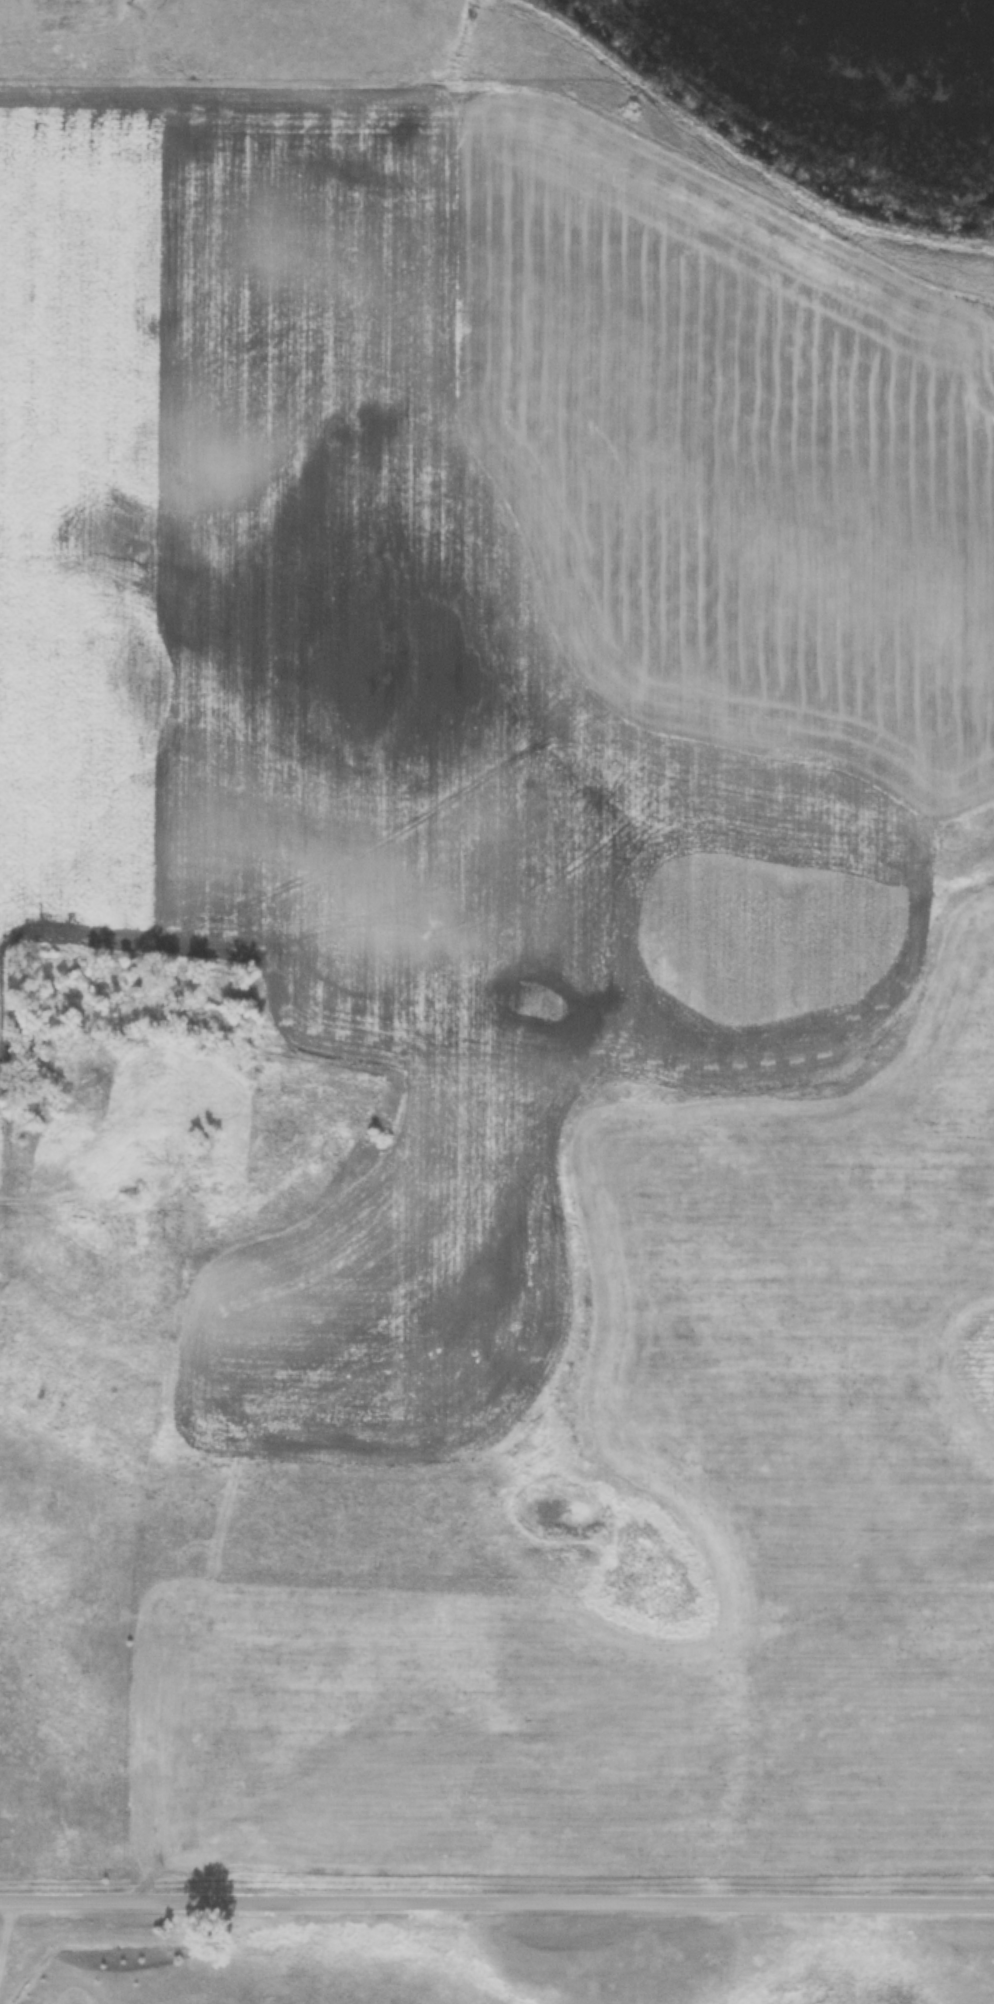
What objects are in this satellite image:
road: (497, 1910)

